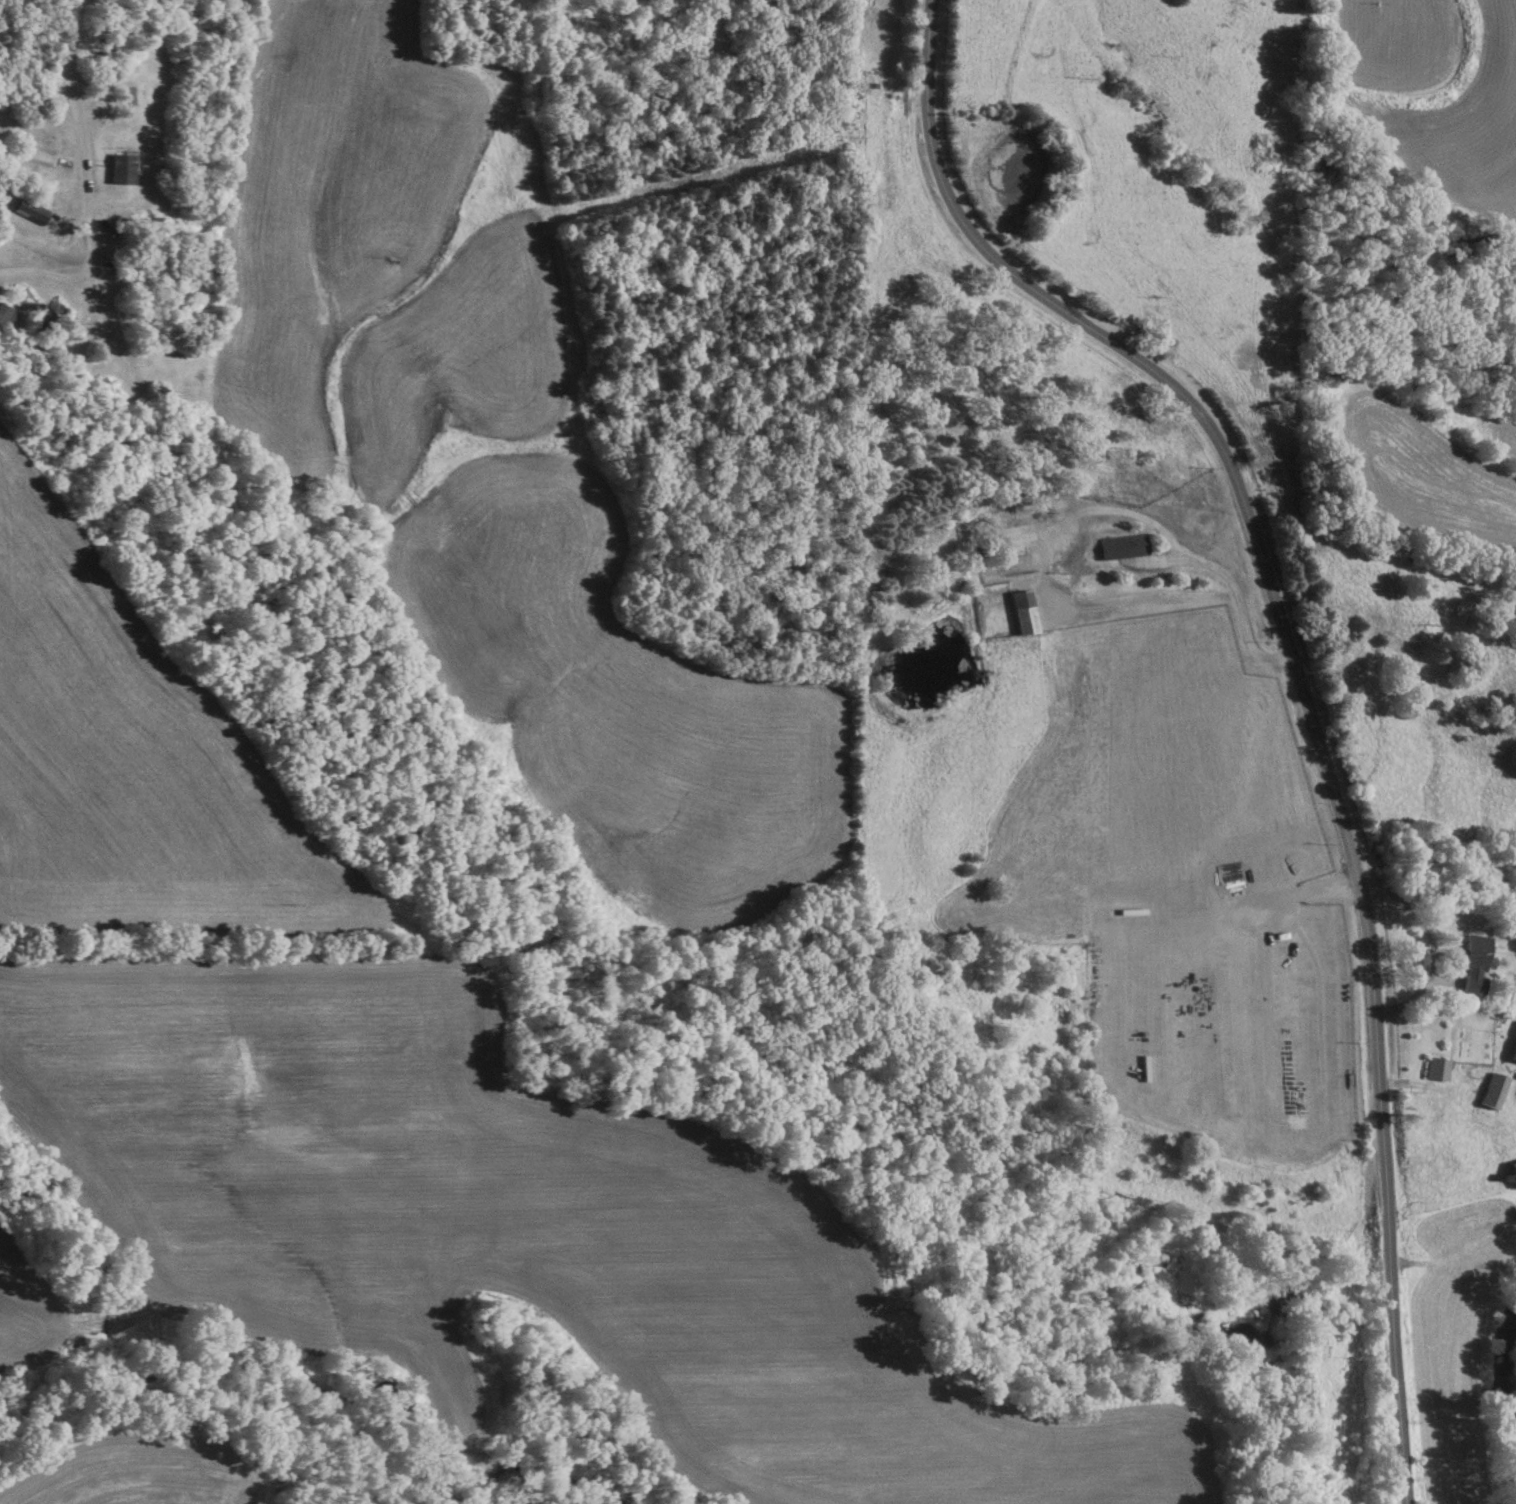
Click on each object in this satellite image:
building: (117, 173)
building: (26, 213)
building: (139, 305)
building: (47, 318)
building: (4, 320)
building: (1008, 539)
building: (1120, 549)
building: (1018, 613)
road: (1300, 686)
building: (1469, 963)
building: (1512, 1051)
building: (1433, 1071)
building: (1489, 1093)
building: (1512, 1175)
river: (1512, 1323)

